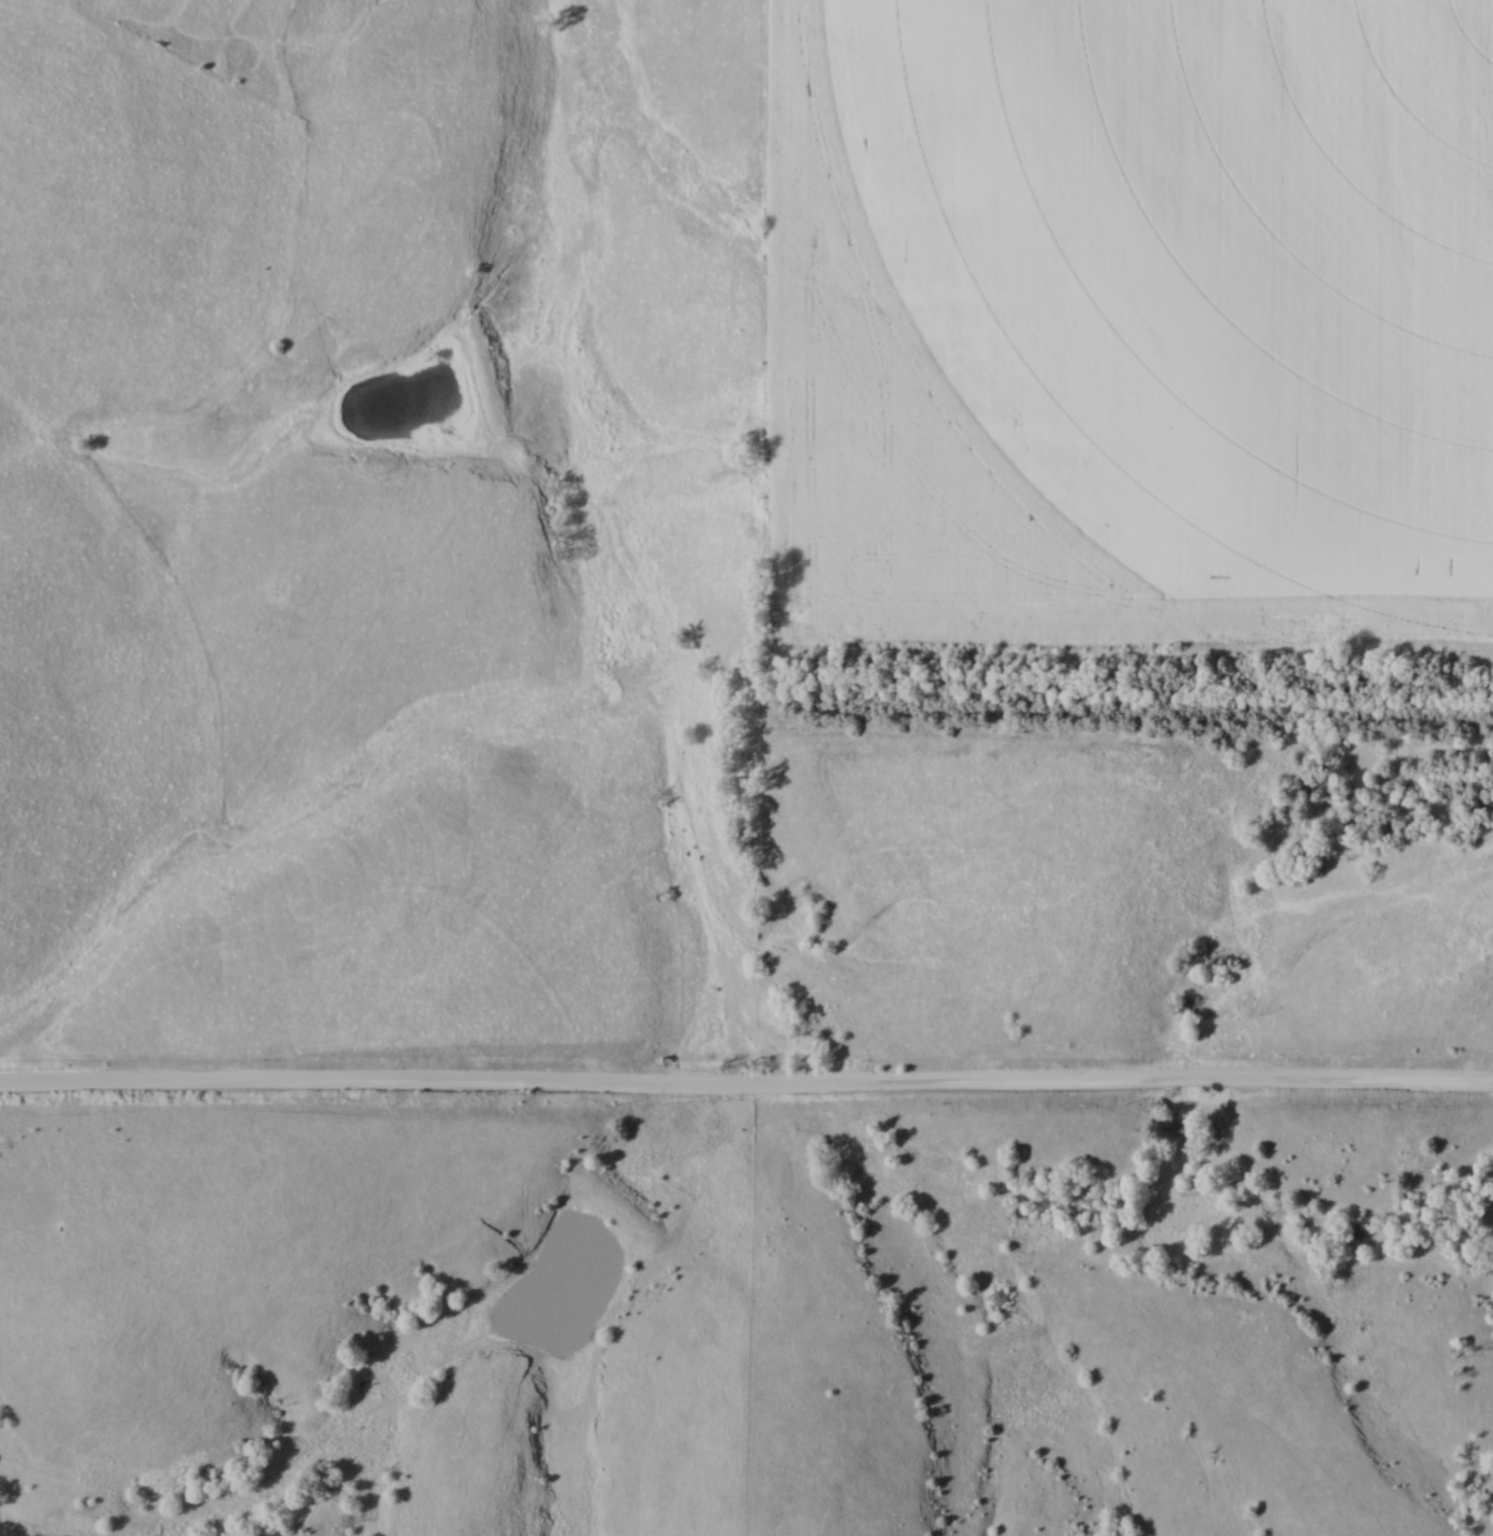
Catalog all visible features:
road: (746, 1091)

